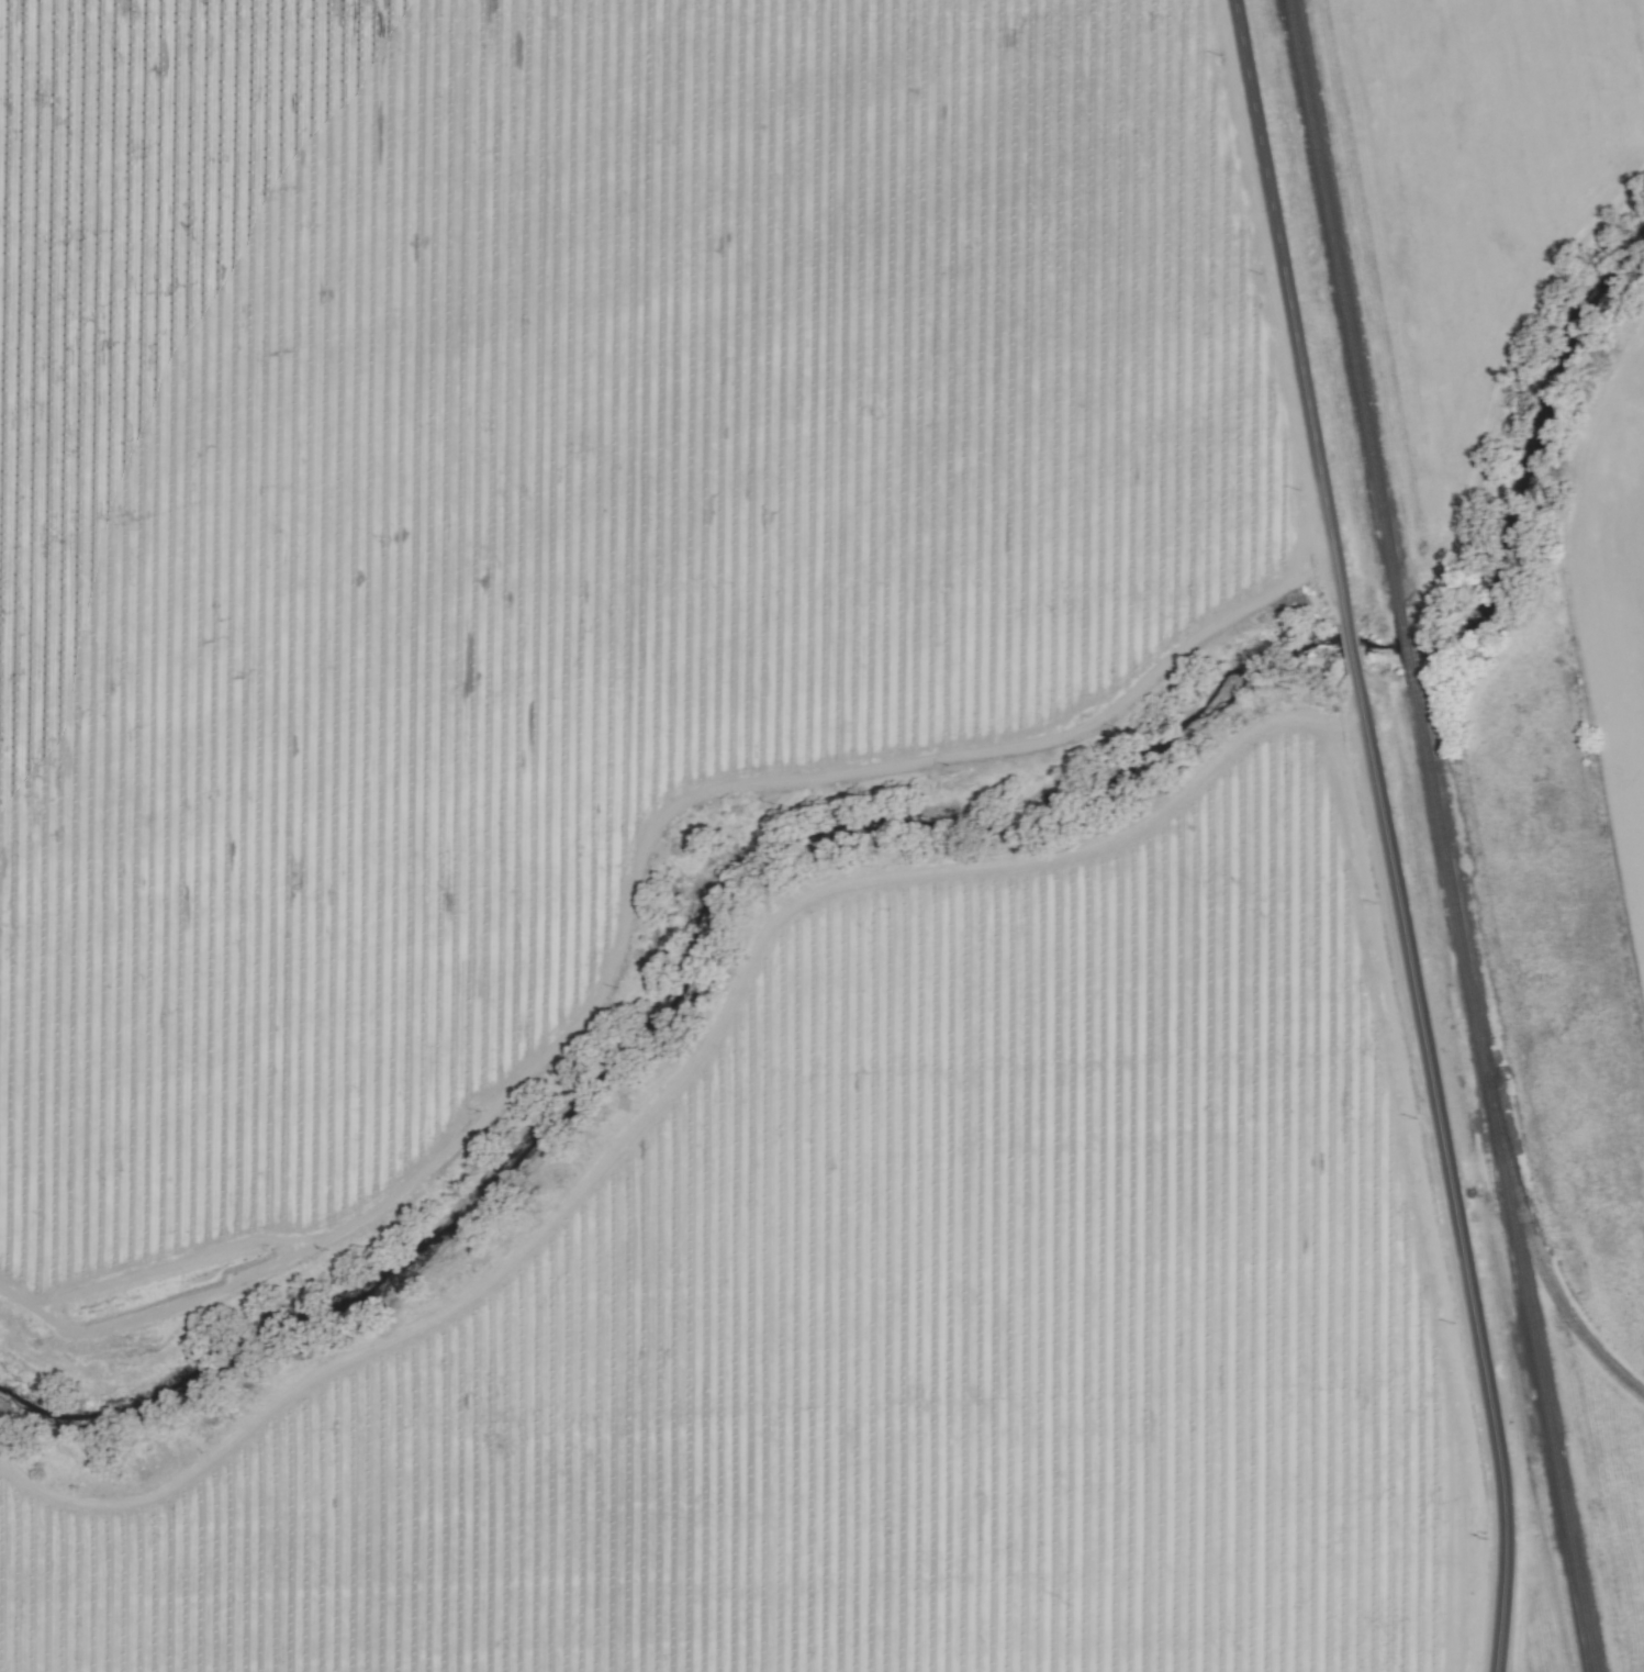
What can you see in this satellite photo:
railway: (1342, 303)
road: (1287, 309)
road: (1350, 645)
railway: (1406, 649)
road: (626, 890)
road: (1445, 1171)
railway: (1502, 1181)
railway: (1531, 1241)

